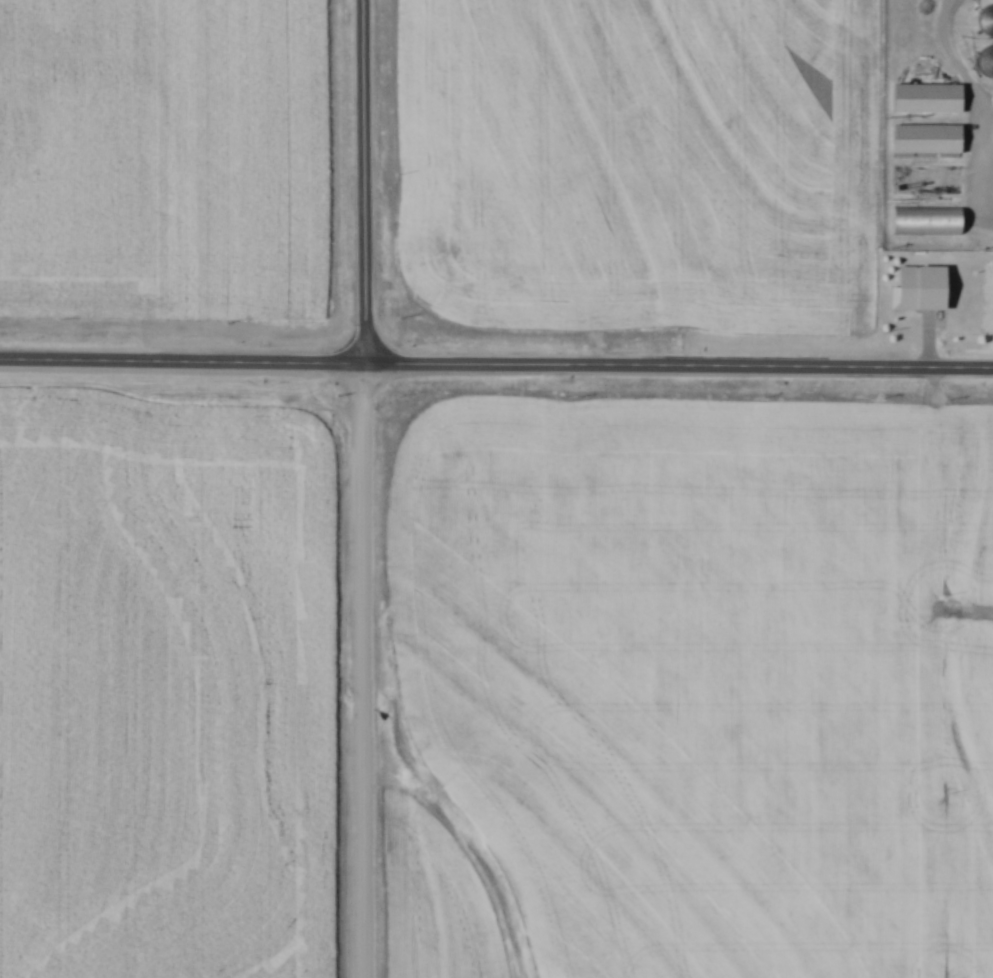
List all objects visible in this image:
building: (983, 61)
building: (925, 98)
building: (925, 138)
road: (366, 180)
road: (985, 181)
building: (926, 221)
road: (183, 358)
road: (680, 365)
road: (365, 669)

